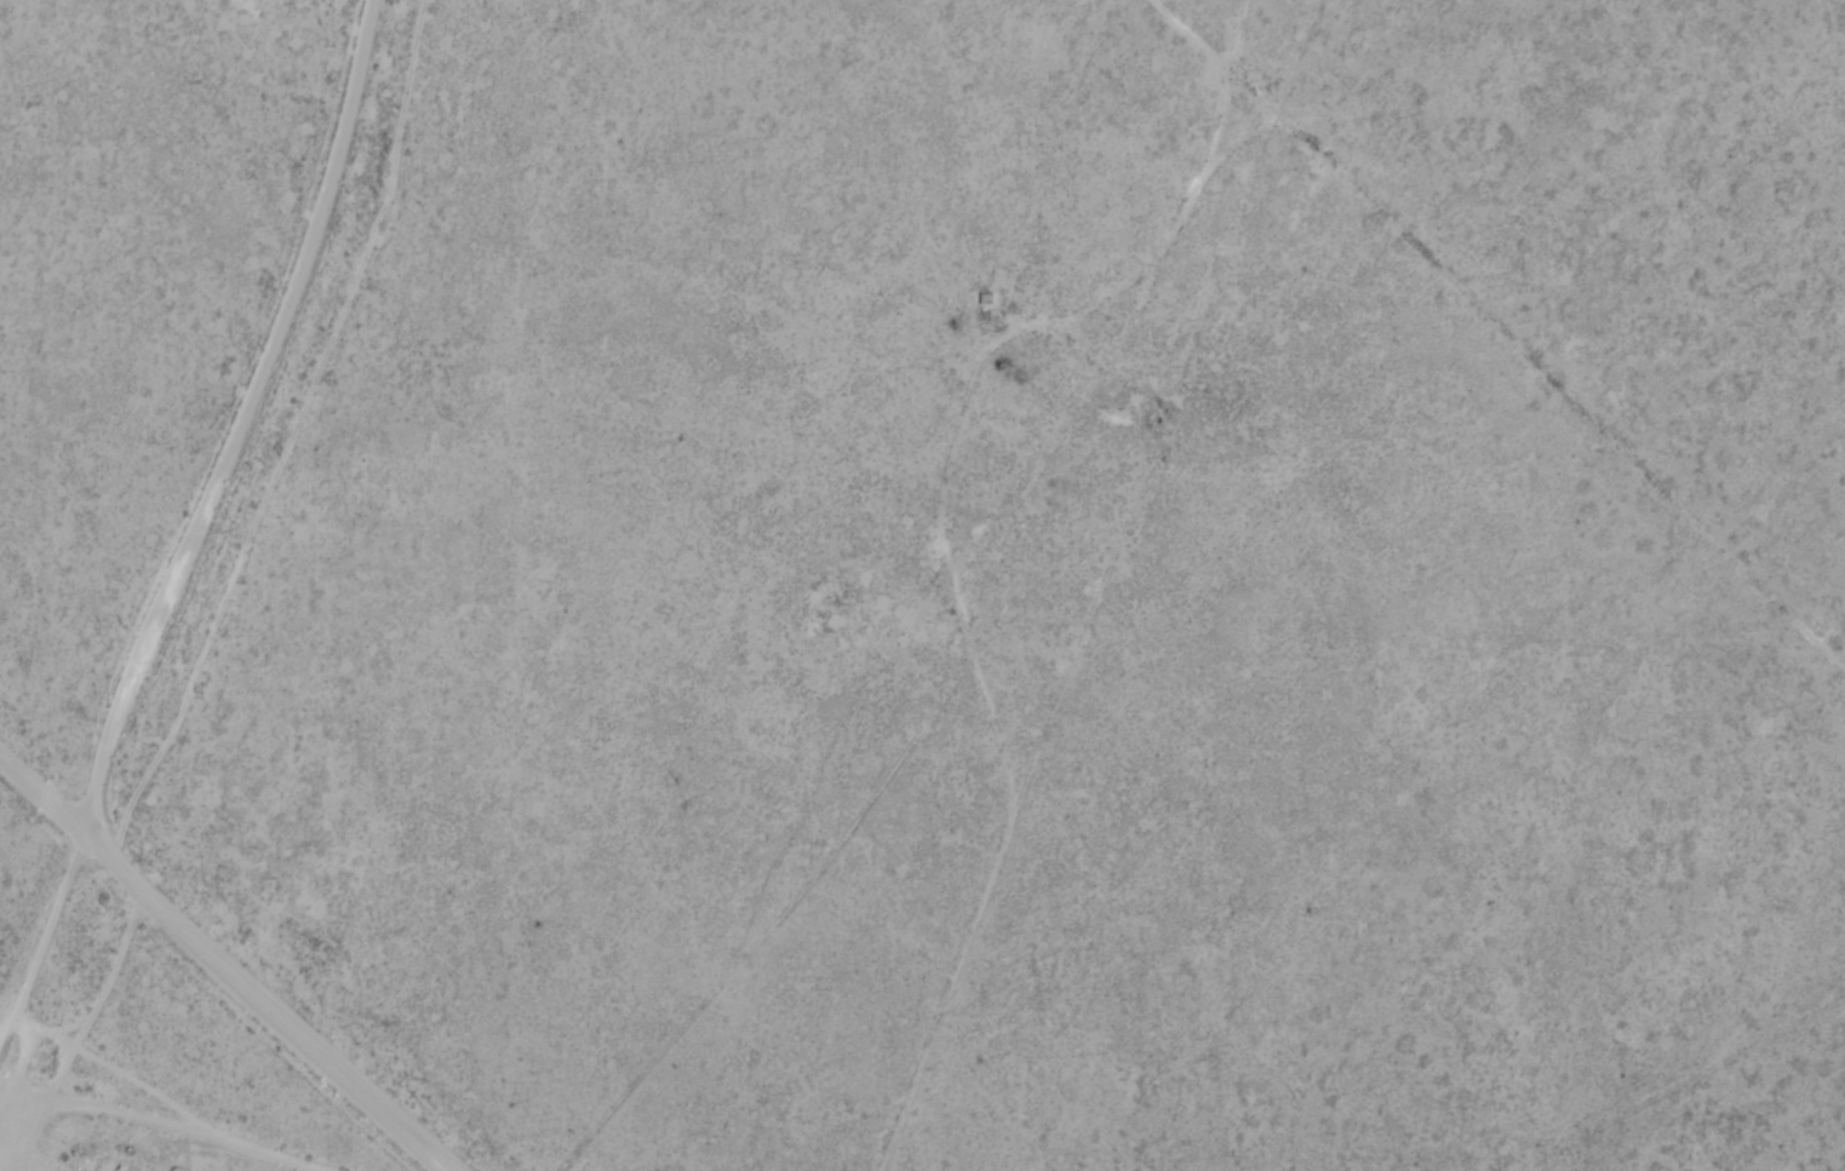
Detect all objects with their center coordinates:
road: (1178, 75)
road: (236, 426)
road: (46, 899)
road: (225, 966)

